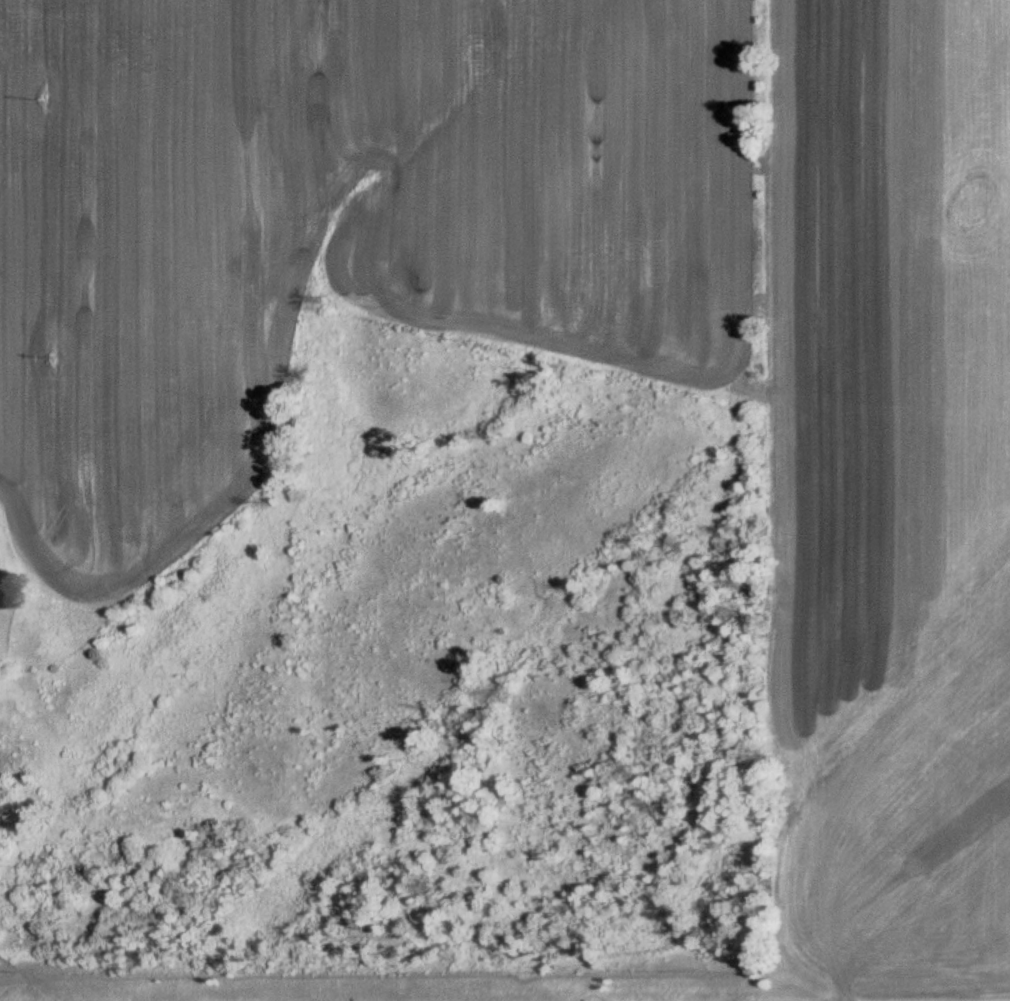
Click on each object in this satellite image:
crop: (327, 234)
crop: (895, 485)

